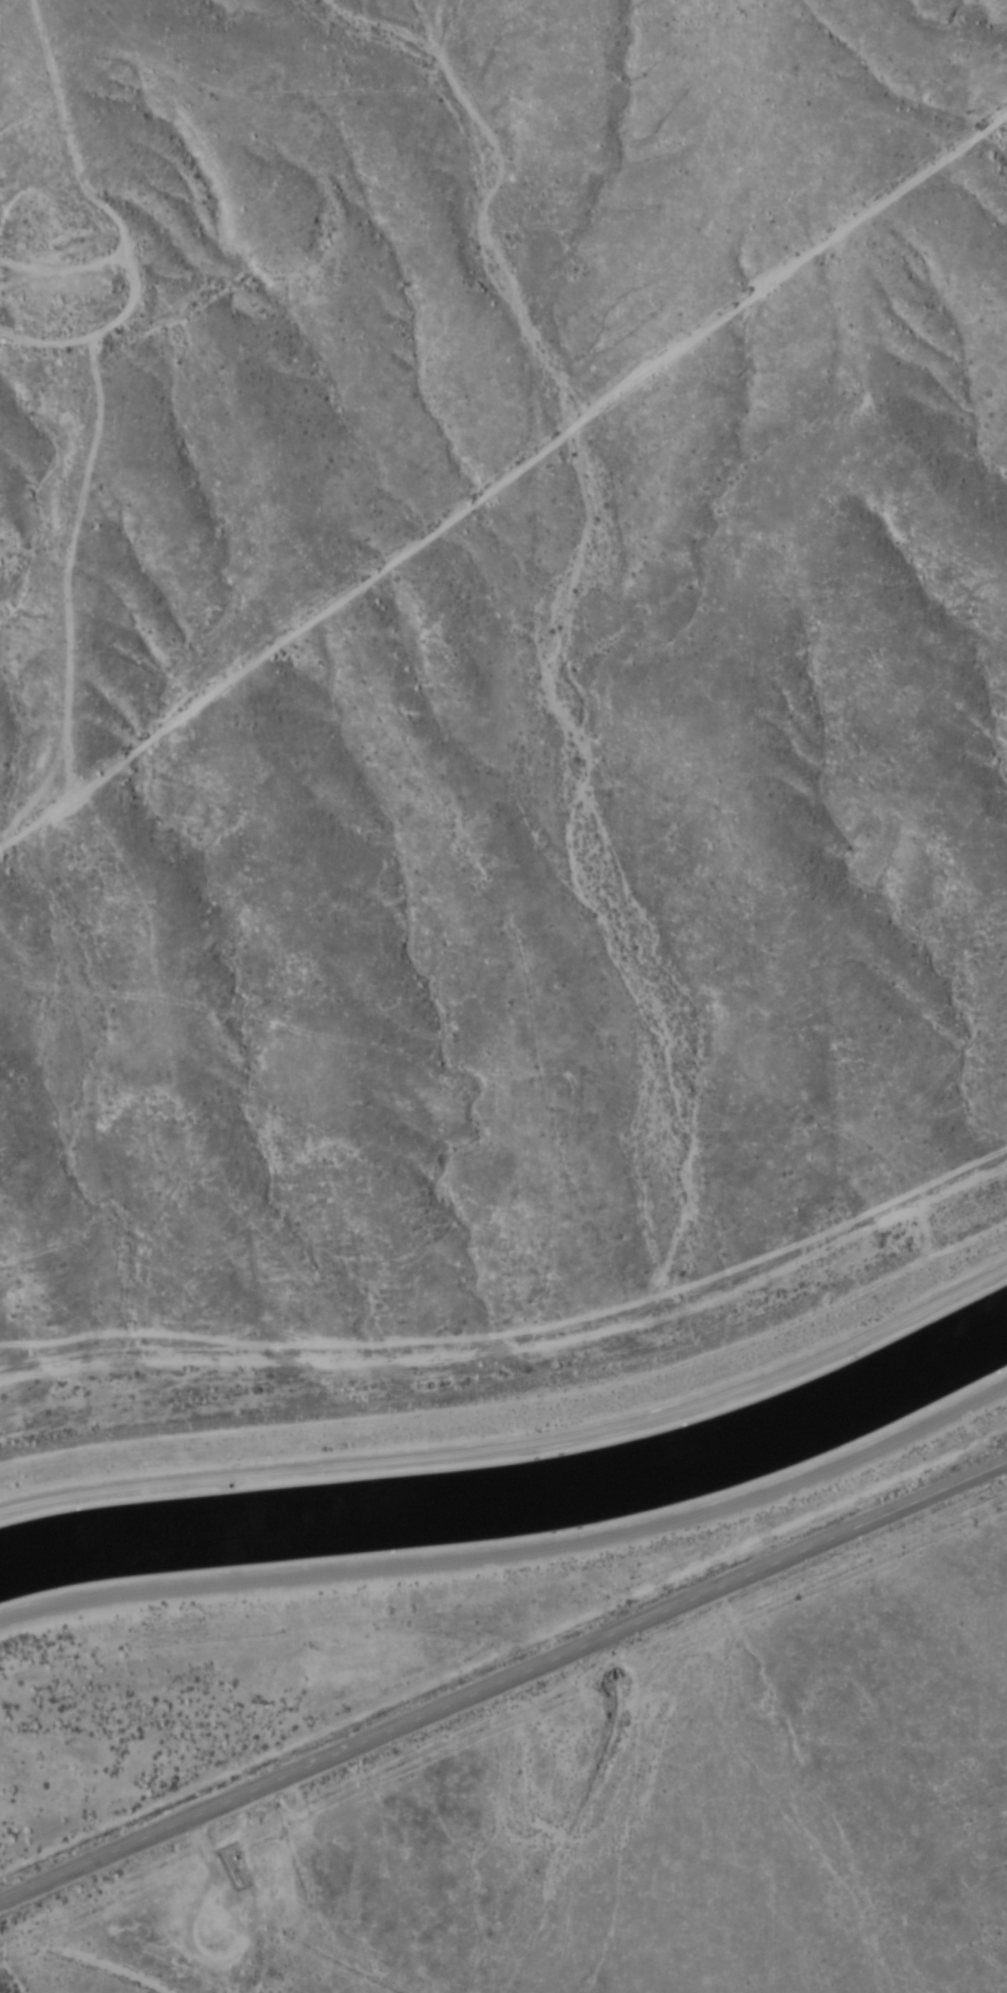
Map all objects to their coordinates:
road: (76, 164)
road: (503, 473)
road: (518, 1443)
road: (516, 1550)
road: (503, 1682)
road: (101, 1967)

